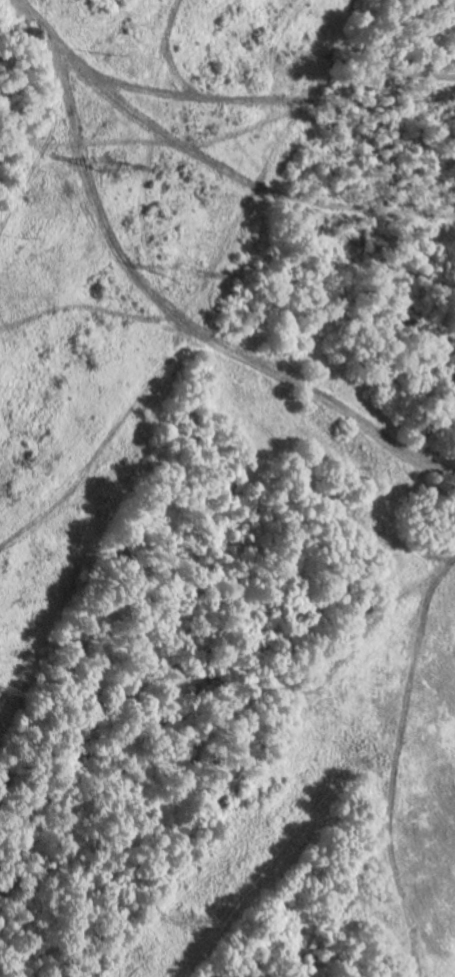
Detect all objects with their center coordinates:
power tower: (109, 168)
power tower: (184, 279)
power tower: (193, 921)

